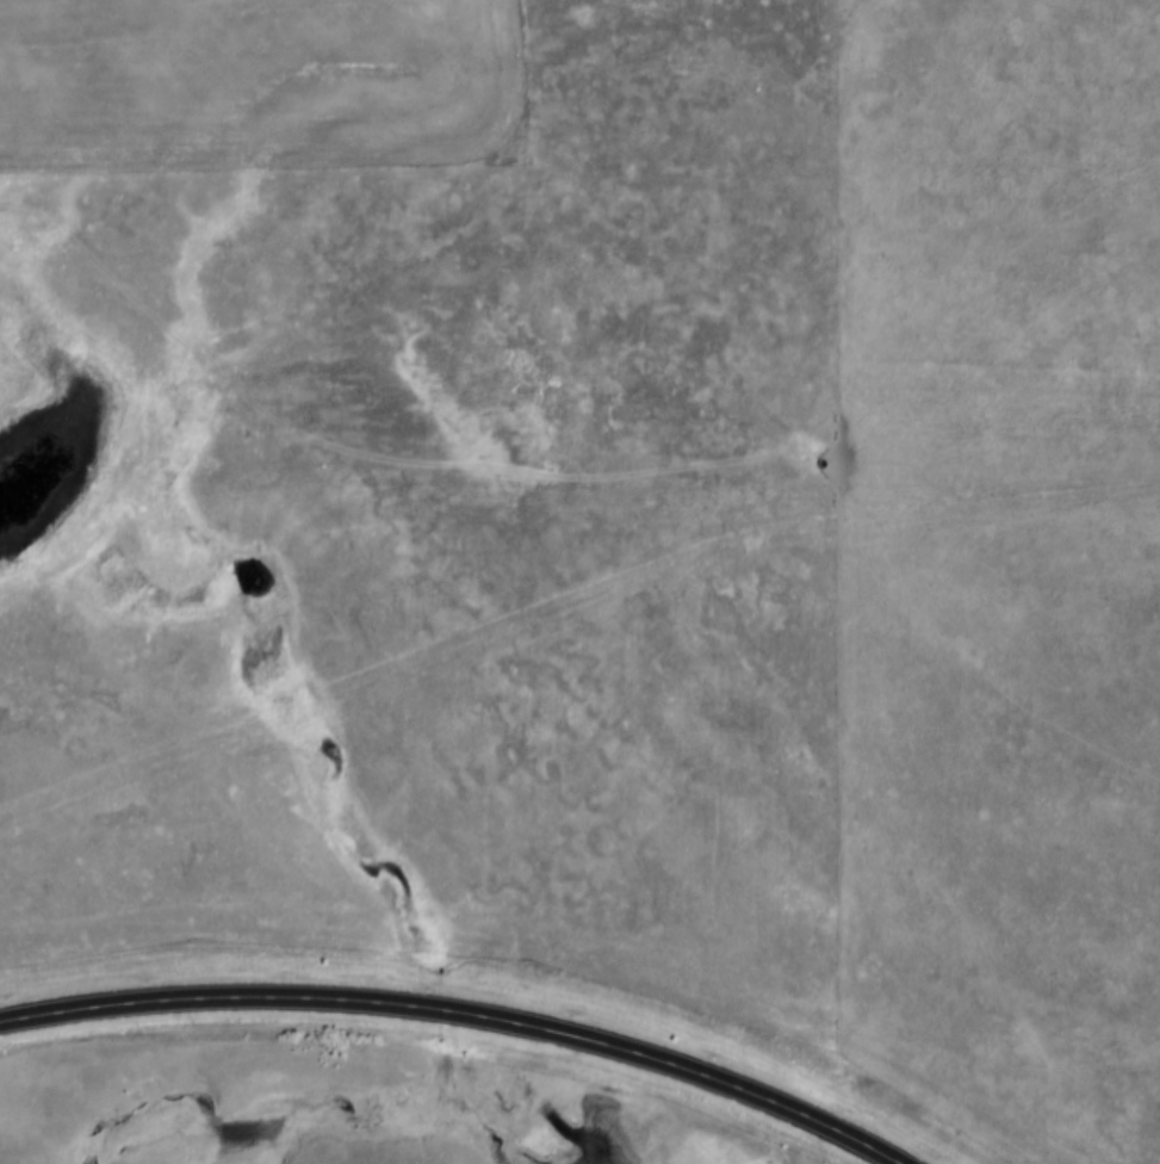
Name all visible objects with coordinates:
road: (348, 457)
road: (459, 1011)

